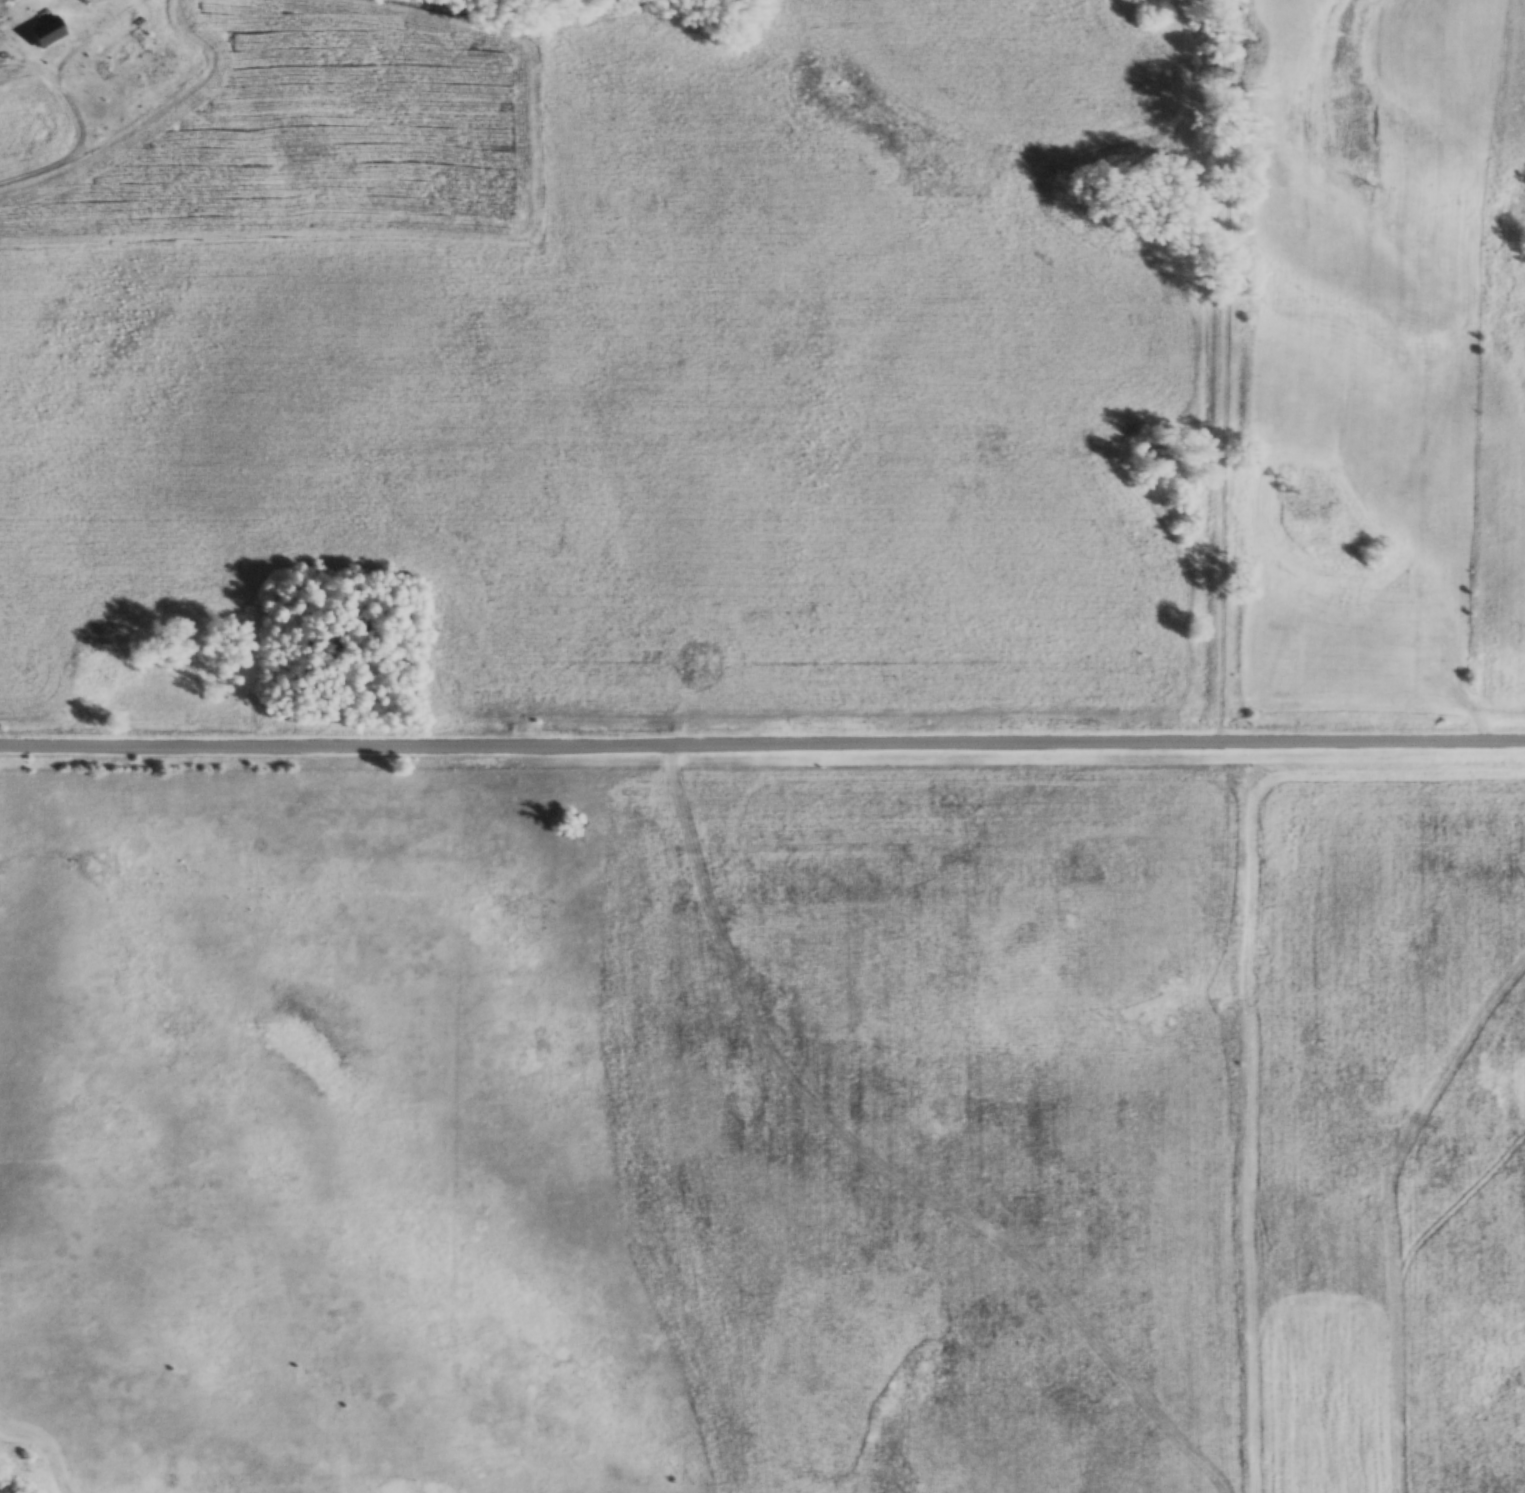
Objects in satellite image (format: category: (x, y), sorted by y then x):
road: (47, 15)
road: (1226, 368)
road: (762, 740)

